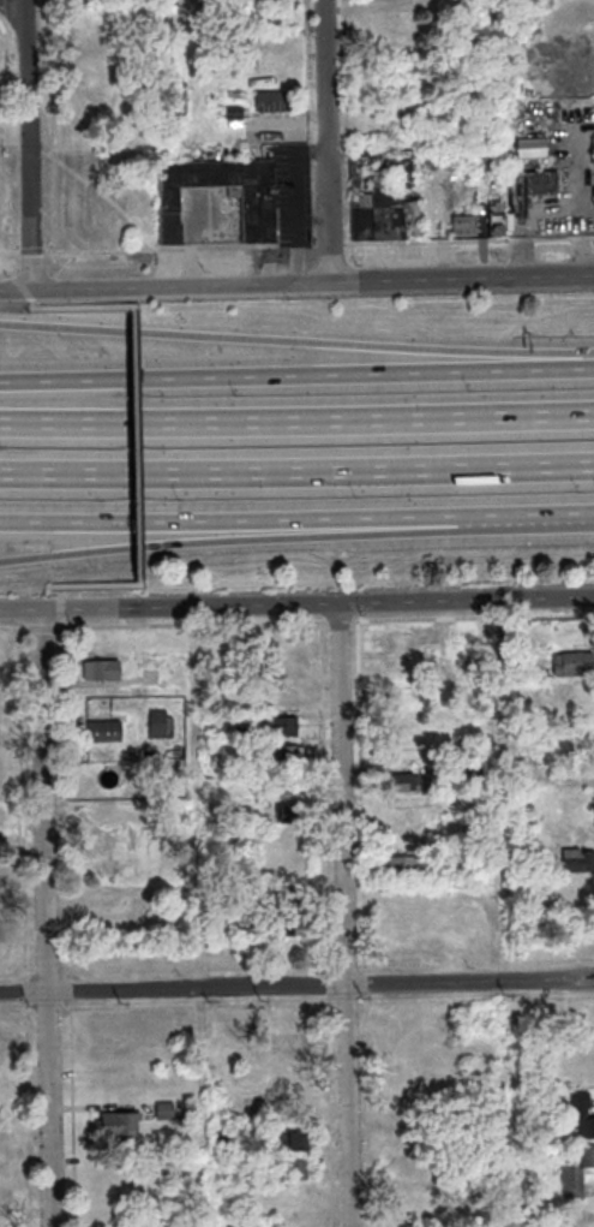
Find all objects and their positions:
road: (12, 6)
road: (50, 73)
building: (269, 102)
building: (233, 114)
road: (312, 121)
road: (8, 138)
road: (326, 141)
road: (26, 144)
building: (529, 149)
building: (535, 184)
building: (384, 196)
road: (298, 203)
building: (257, 206)
road: (551, 220)
building: (463, 225)
road: (472, 239)
road: (190, 242)
road: (332, 243)
road: (181, 246)
road: (32, 252)
road: (8, 254)
road: (463, 278)
road: (166, 285)
road: (72, 305)
road: (296, 340)
road: (296, 375)
road: (296, 419)
road: (136, 445)
road: (296, 472)
road: (568, 519)
road: (271, 523)
road: (271, 541)
road: (79, 585)
road: (316, 604)
road: (19, 608)
road: (60, 615)
road: (473, 619)
road: (338, 623)
road: (193, 626)
road: (13, 630)
road: (43, 630)
building: (455, 635)
building: (400, 641)
building: (572, 665)
building: (397, 666)
building: (103, 672)
building: (282, 696)
building: (402, 697)
building: (510, 708)
building: (160, 726)
building: (283, 728)
building: (104, 733)
building: (284, 757)
building: (473, 772)
building: (401, 782)
building: (287, 814)
building: (403, 838)
building: (577, 862)
building: (404, 868)
building: (110, 871)
building: (289, 899)
building: (221, 901)
road: (344, 915)
road: (43, 918)
building: (244, 918)
building: (289, 925)
building: (474, 943)
building: (403, 946)
road: (296, 984)
building: (286, 1055)
building: (164, 1112)
building: (582, 1115)
building: (118, 1127)
building: (223, 1138)
building: (290, 1142)
building: (587, 1157)
building: (293, 1172)
building: (571, 1185)

